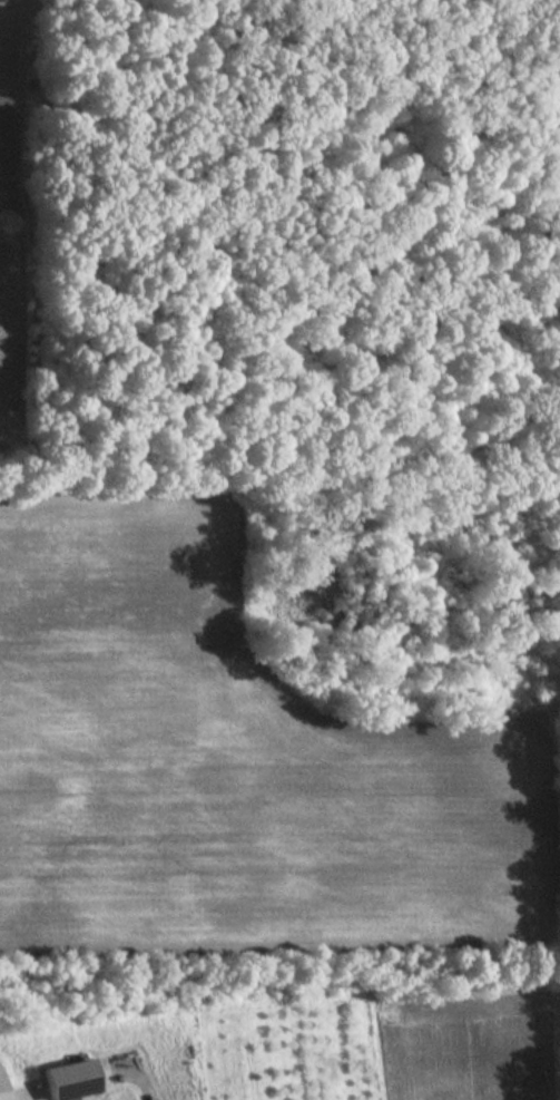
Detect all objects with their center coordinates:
building: (62, 1081)
road: (145, 1090)

